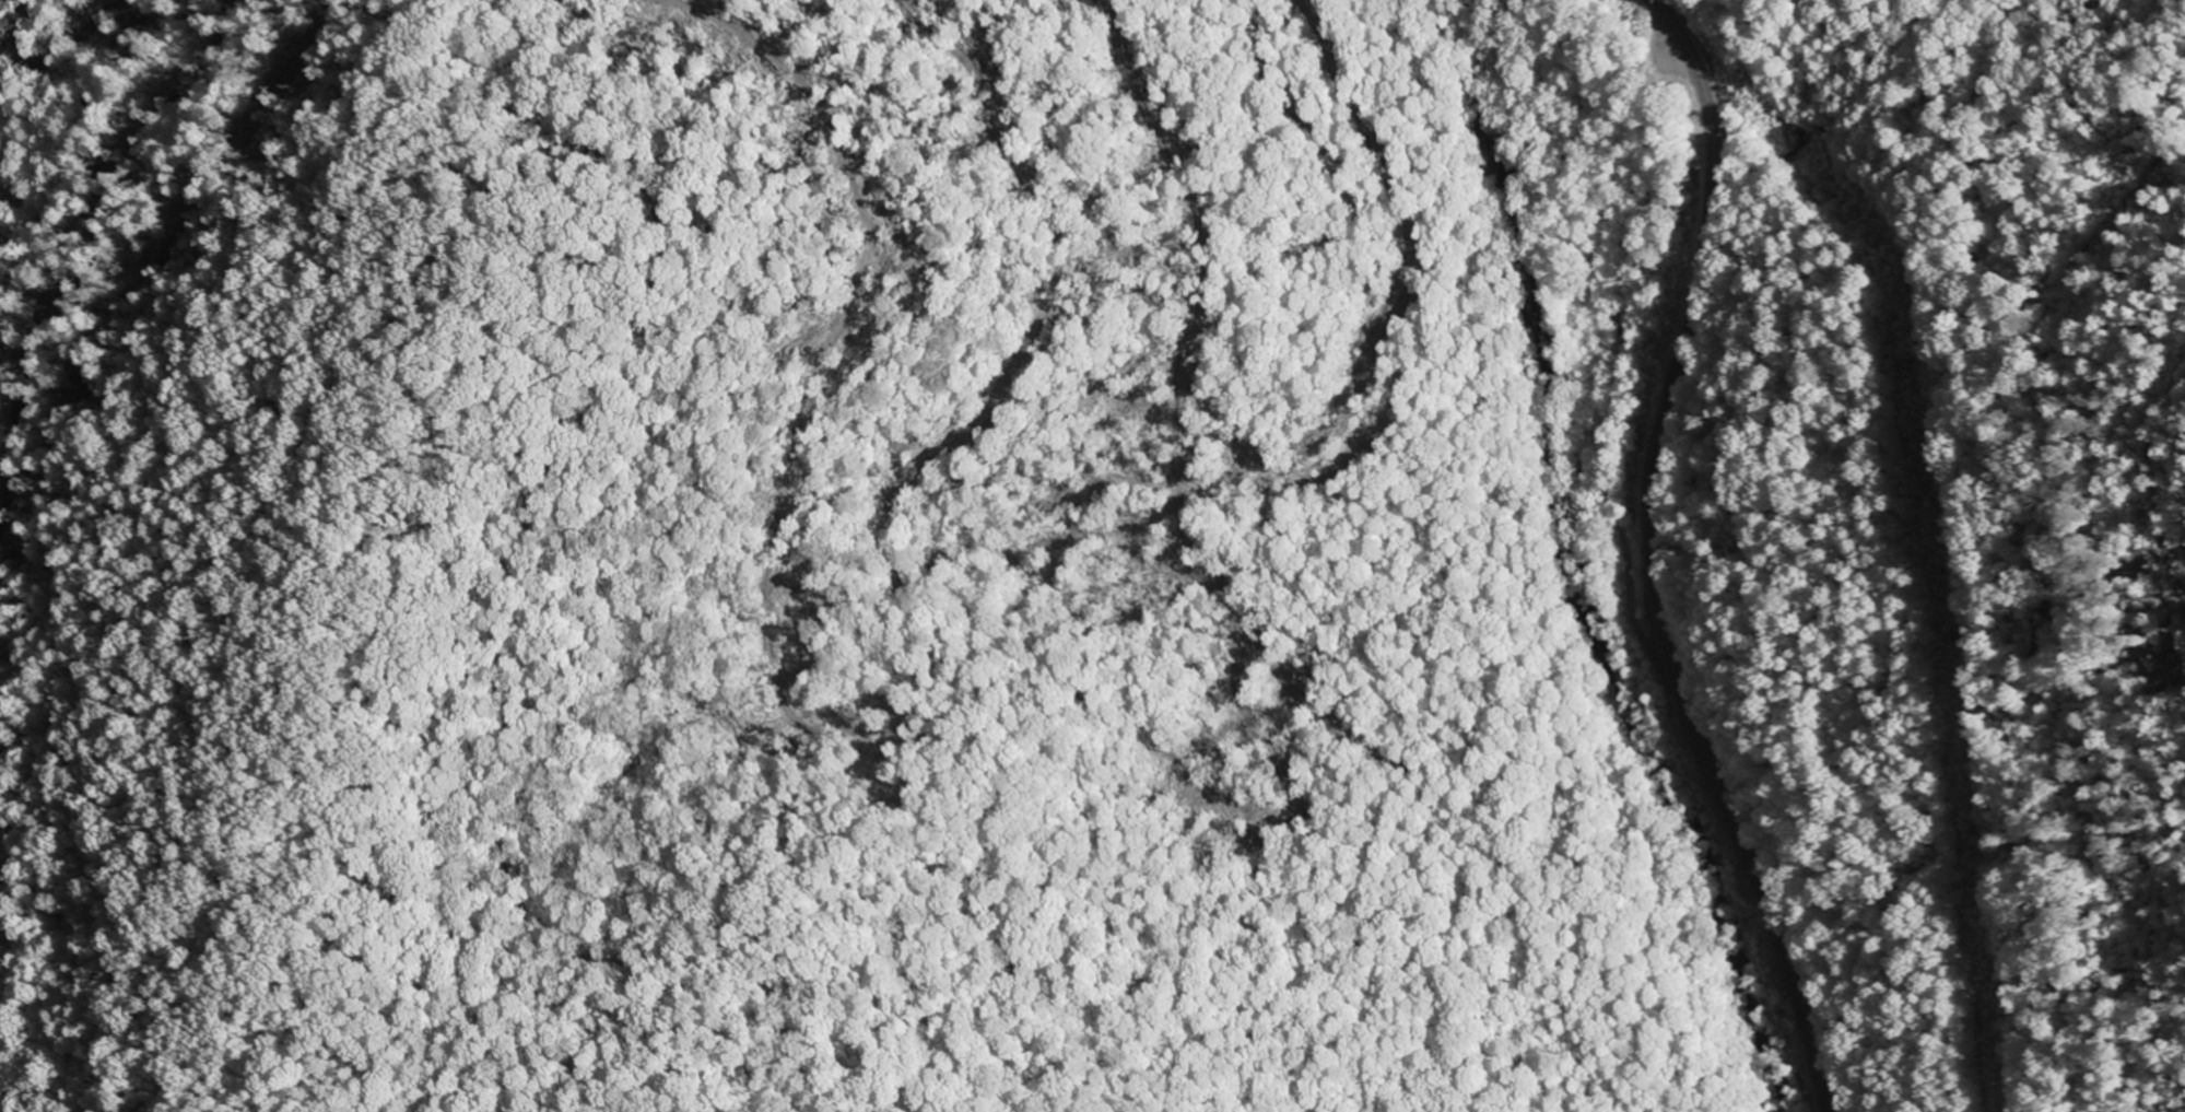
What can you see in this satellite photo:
road: (1654, 560)

